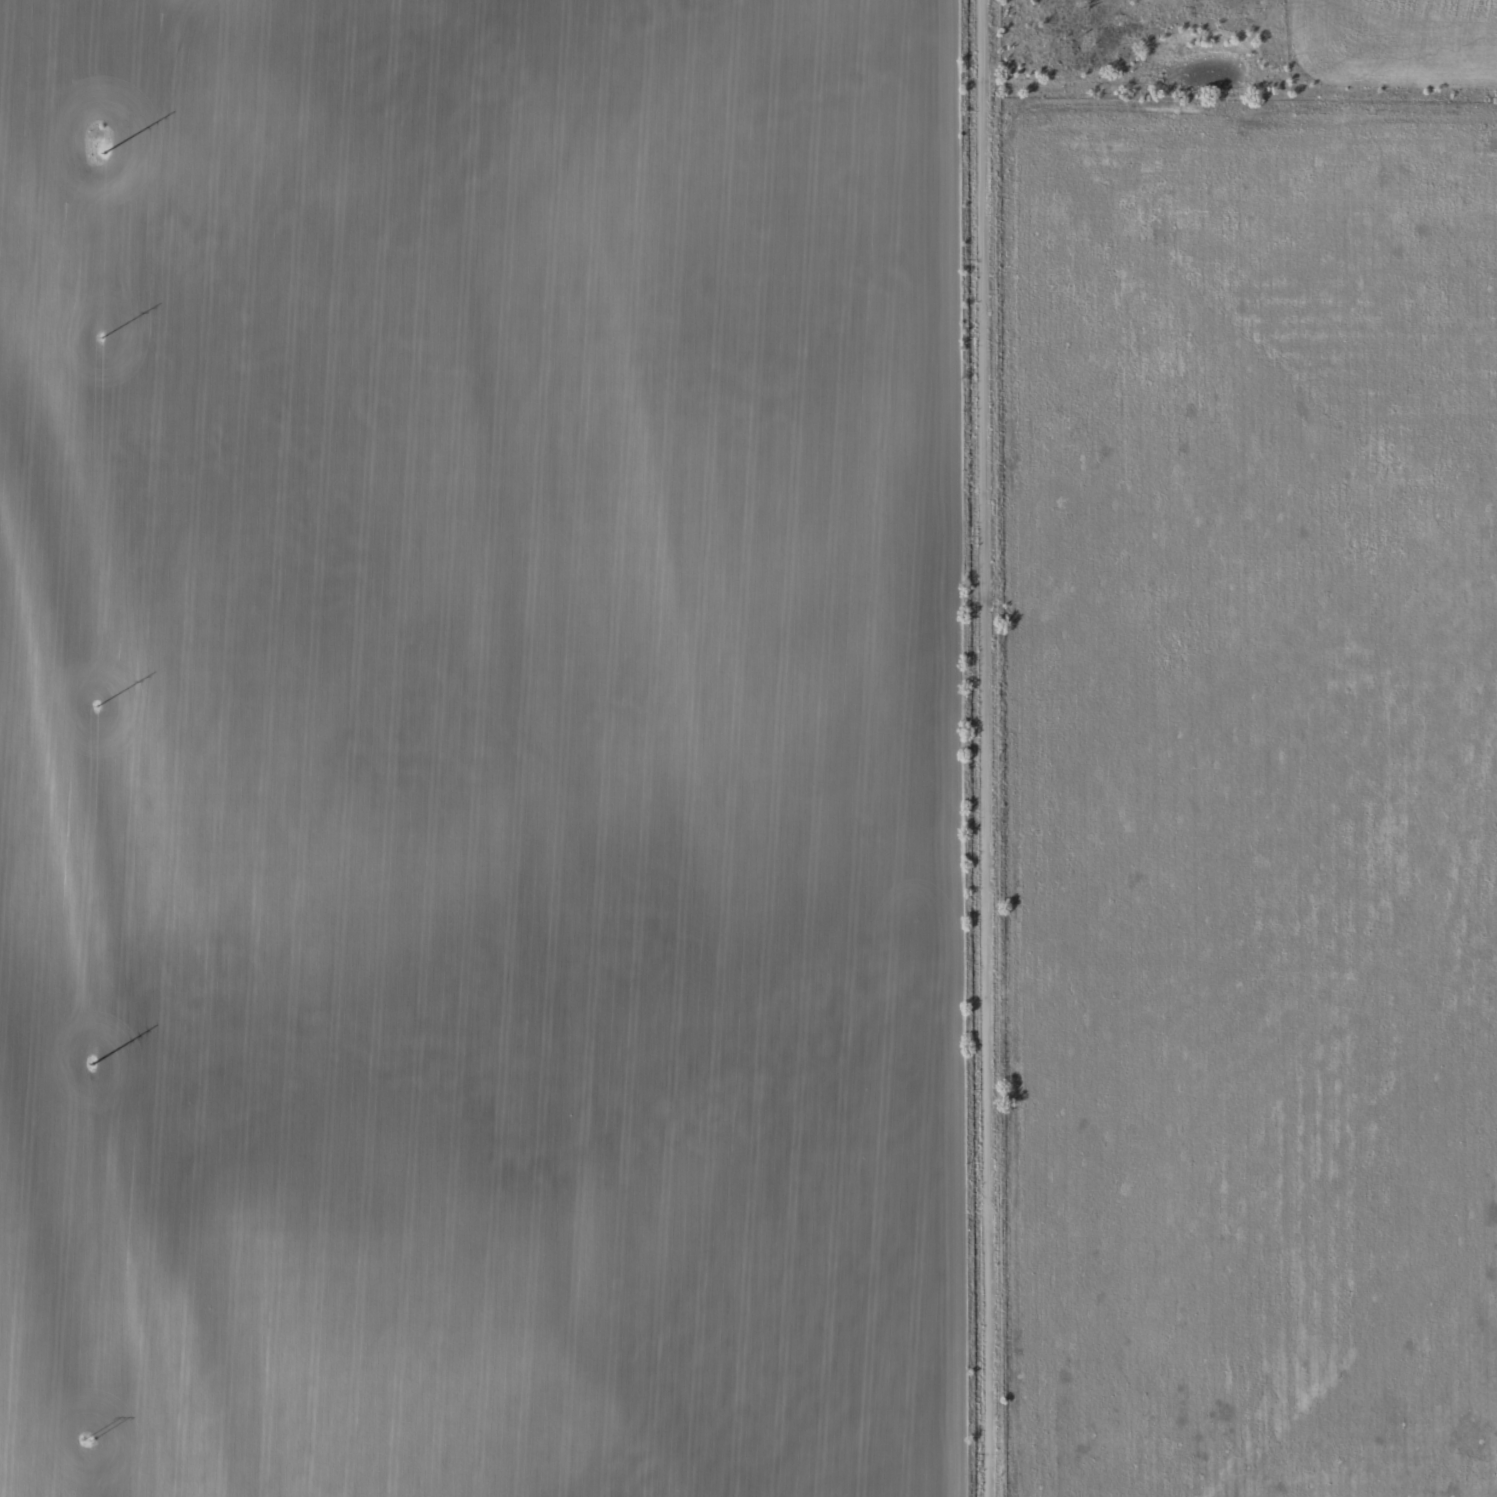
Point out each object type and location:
power tower: (103, 148)
power tower: (101, 333)
power tower: (96, 701)
road: (969, 748)
power tower: (92, 1071)
power tower: (87, 1441)

